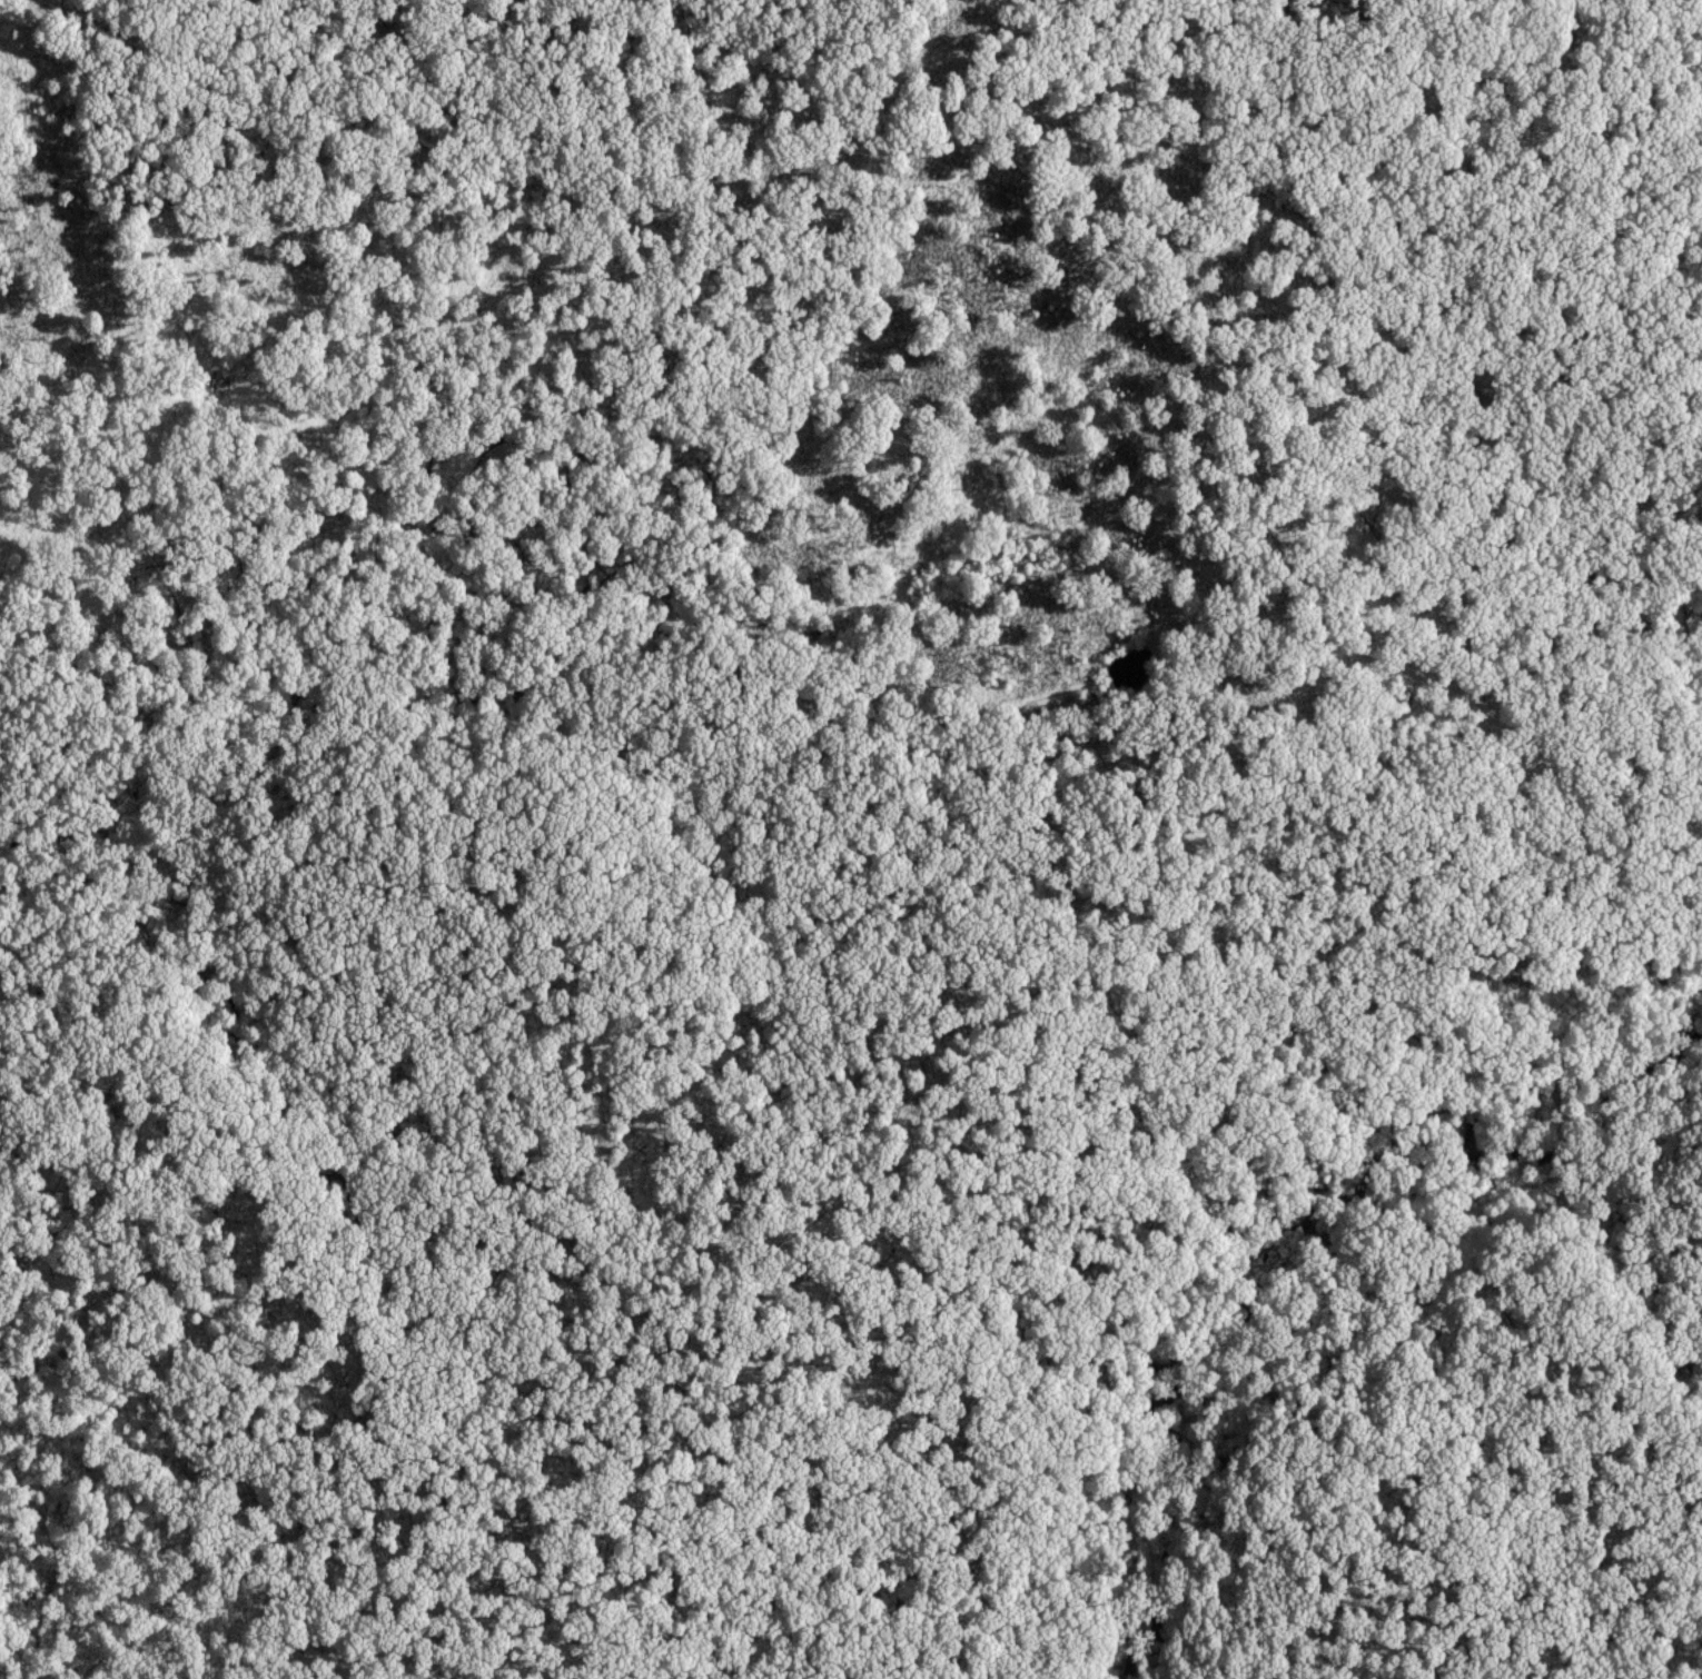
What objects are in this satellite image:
road: (751, 715)
road: (962, 716)

